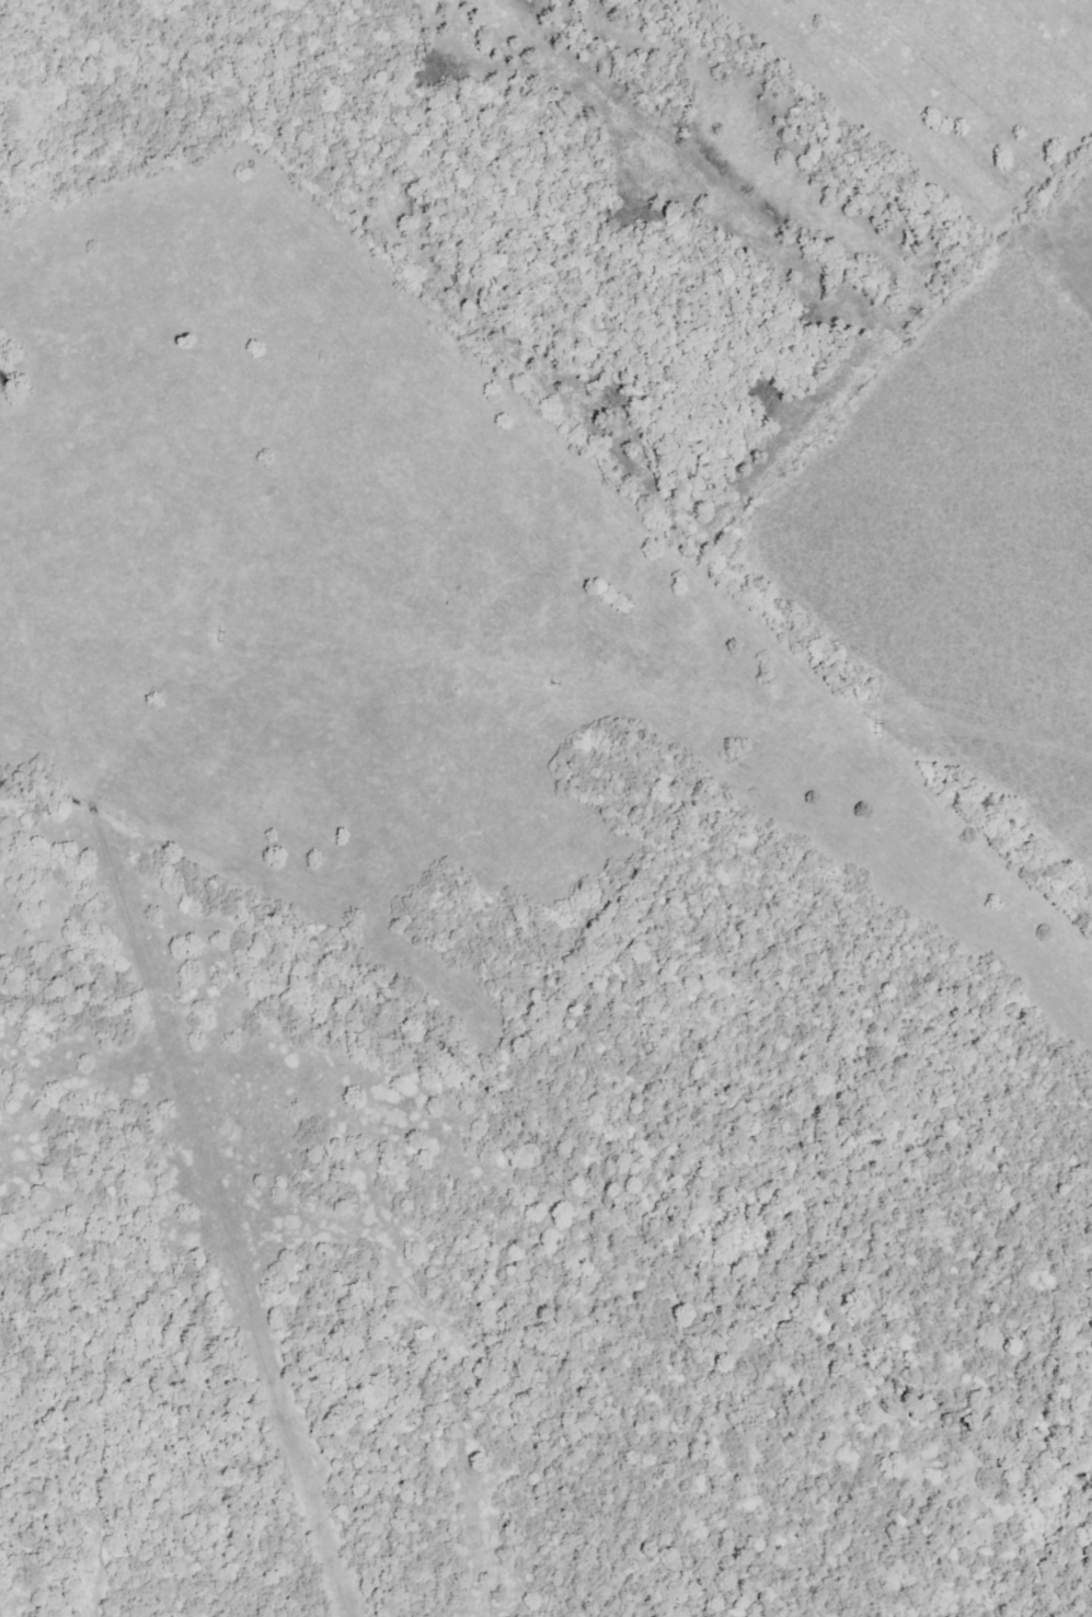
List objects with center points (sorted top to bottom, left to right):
power tower: (208, 633)
power tower: (543, 681)
power tower: (861, 731)

